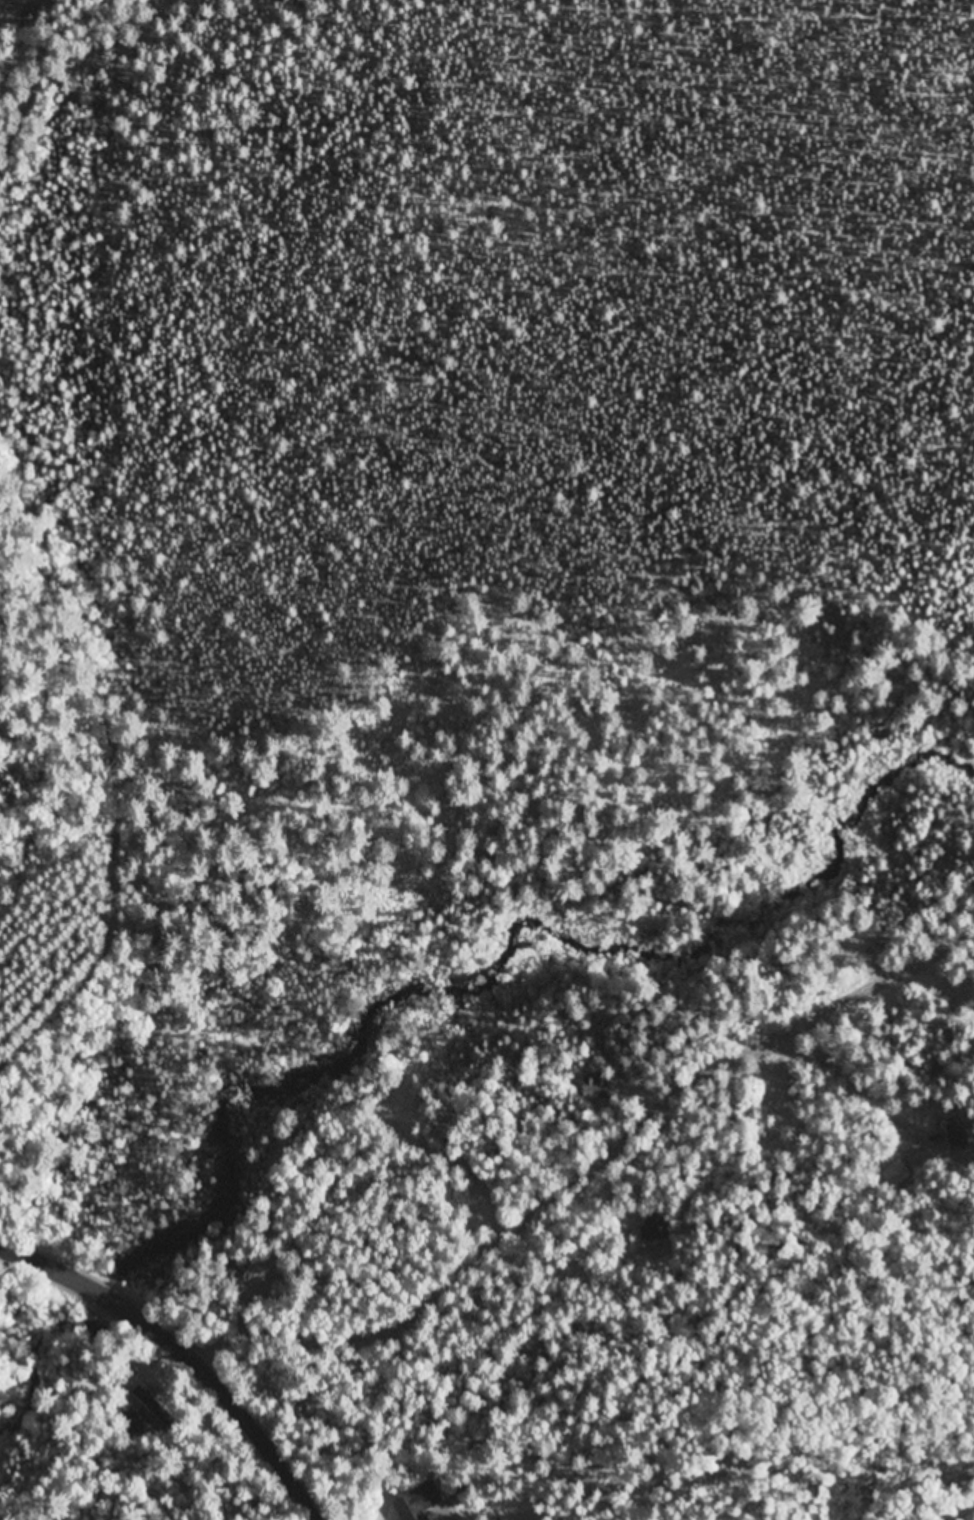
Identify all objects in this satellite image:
road: (27, 110)
road: (572, 1174)
building: (646, 1232)
road: (189, 1347)
building: (420, 1503)

